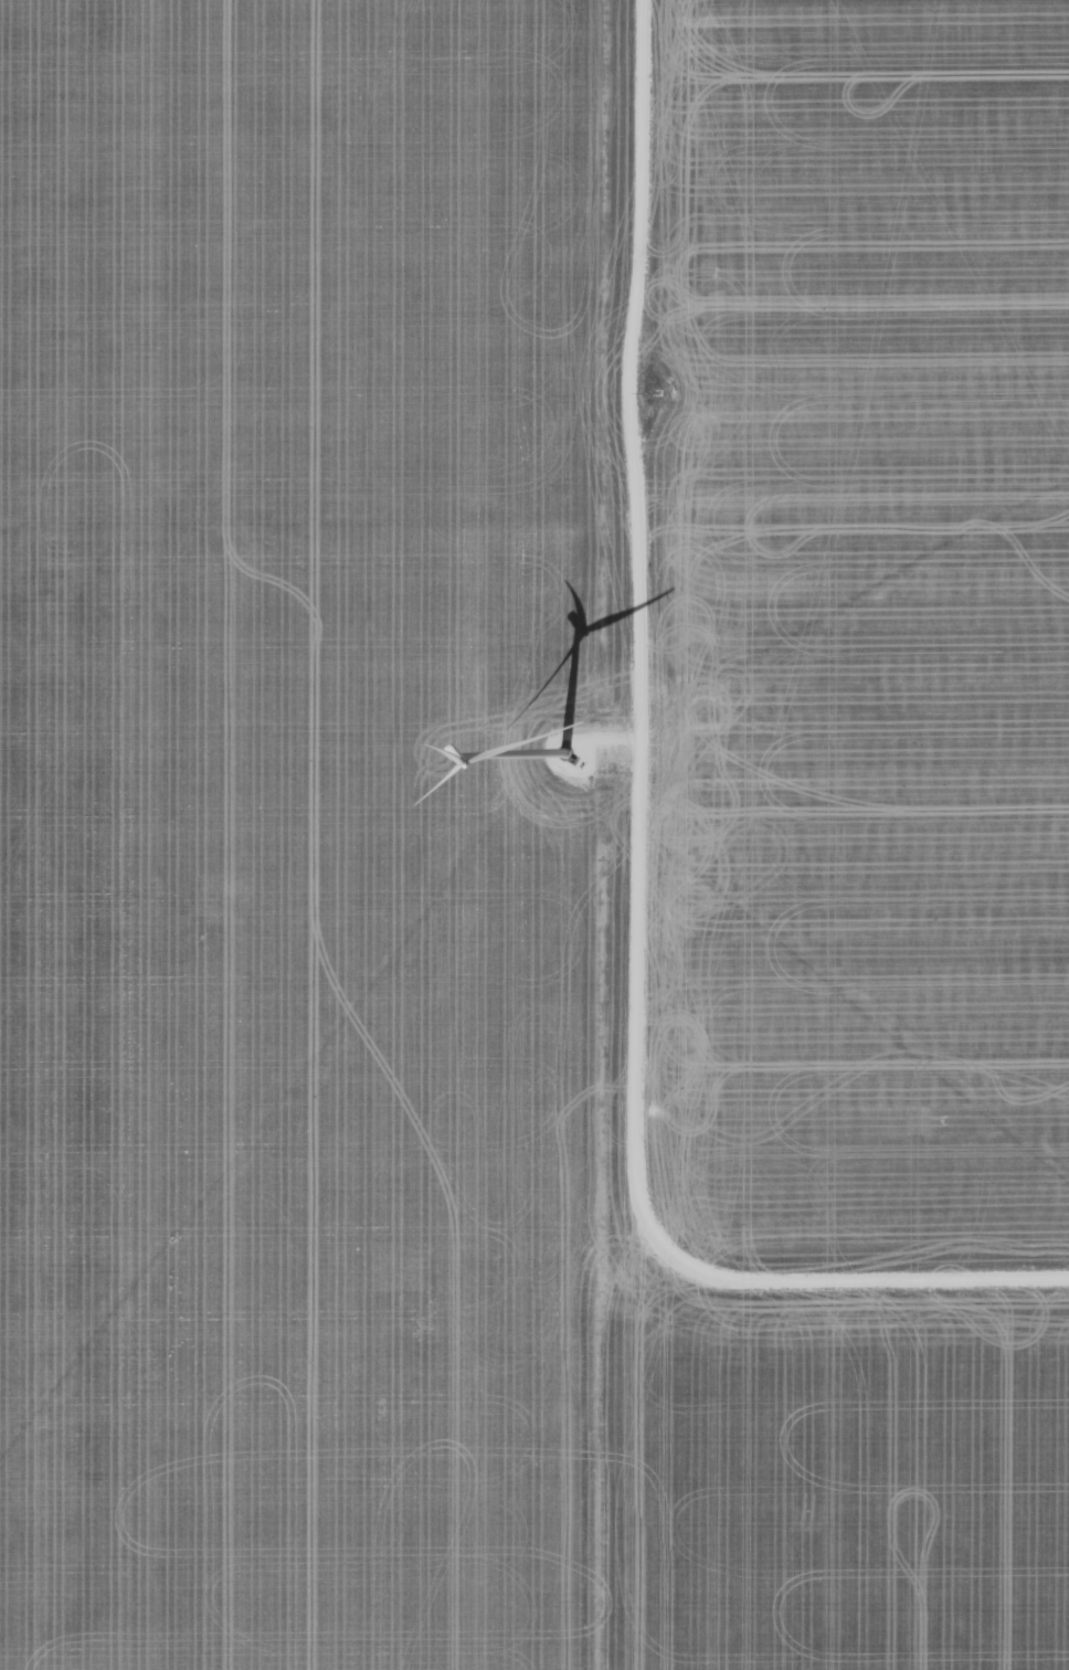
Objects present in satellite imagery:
wind turbine: (563, 753)

